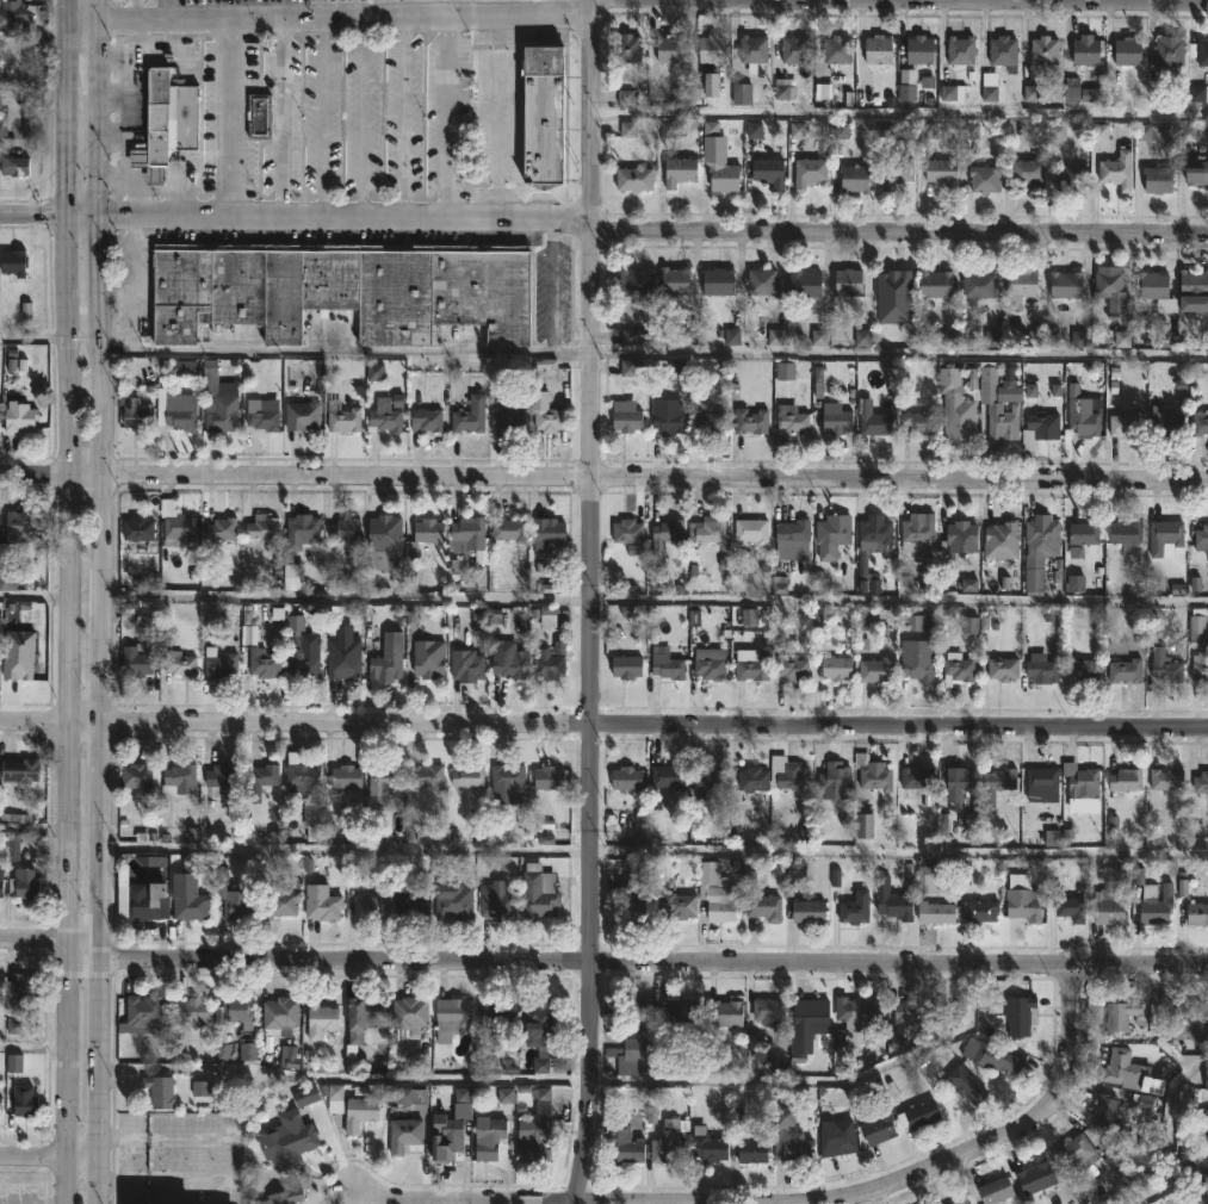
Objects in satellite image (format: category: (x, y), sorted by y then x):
building: (12, 13)
road: (329, 17)
building: (627, 46)
building: (671, 48)
building: (712, 48)
building: (794, 49)
building: (837, 49)
building: (879, 49)
building: (922, 49)
building: (962, 49)
building: (1004, 50)
building: (1047, 50)
building: (1088, 50)
building: (1129, 50)
building: (1171, 50)
building: (754, 51)
building: (1203, 51)
building: (707, 86)
building: (743, 97)
road: (590, 110)
building: (259, 116)
building: (541, 116)
road: (321, 117)
road: (402, 117)
road: (451, 117)
road: (899, 117)
road: (229, 118)
road: (281, 118)
road: (361, 118)
building: (168, 122)
building: (14, 166)
building: (681, 170)
building: (1117, 170)
building: (769, 172)
building: (806, 172)
building: (943, 172)
building: (1026, 173)
building: (1195, 173)
building: (892, 174)
building: (720, 178)
building: (631, 179)
building: (851, 179)
building: (981, 179)
building: (1068, 179)
building: (1156, 180)
traffic signals: (67, 217)
traffic signals: (100, 217)
road: (295, 218)
road: (590, 226)
road: (899, 235)
building: (14, 262)
building: (675, 281)
building: (719, 281)
building: (762, 281)
building: (632, 283)
building: (850, 283)
building: (887, 283)
building: (806, 284)
building: (1192, 284)
building: (933, 285)
building: (979, 285)
building: (1063, 285)
building: (1018, 286)
building: (1113, 286)
building: (1148, 286)
building: (341, 290)
road: (35, 345)
road: (652, 355)
building: (998, 402)
building: (955, 408)
building: (176, 410)
building: (454, 414)
building: (543, 414)
building: (221, 416)
building: (261, 416)
building: (303, 416)
building: (19, 417)
building: (138, 417)
building: (343, 417)
building: (793, 418)
building: (385, 420)
building: (506, 420)
building: (622, 421)
building: (708, 421)
building: (1163, 421)
building: (665, 422)
building: (749, 422)
building: (834, 422)
building: (1045, 422)
building: (876, 423)
building: (917, 423)
building: (1084, 423)
building: (1122, 423)
building: (1198, 423)
road: (603, 476)
building: (176, 523)
building: (262, 526)
building: (138, 528)
building: (222, 528)
building: (345, 528)
building: (507, 528)
building: (669, 529)
building: (708, 529)
building: (751, 529)
building: (24, 530)
building: (303, 530)
building: (625, 530)
building: (875, 530)
building: (1123, 530)
building: (1080, 532)
building: (917, 533)
building: (962, 534)
building: (1161, 534)
building: (546, 535)
building: (1200, 536)
building: (470, 538)
building: (829, 538)
building: (793, 539)
building: (385, 540)
building: (998, 540)
building: (1036, 552)
building: (411, 558)
road: (100, 601)
road: (36, 602)
road: (70, 602)
road: (653, 604)
building: (1197, 629)
building: (136, 660)
building: (429, 662)
building: (915, 662)
building: (179, 663)
building: (219, 663)
building: (264, 663)
building: (663, 663)
building: (508, 664)
building: (748, 664)
building: (19, 665)
building: (545, 665)
building: (624, 665)
building: (1163, 665)
building: (303, 666)
building: (345, 666)
building: (386, 666)
building: (467, 666)
building: (707, 666)
building: (834, 666)
building: (1084, 668)
building: (1200, 668)
building: (789, 669)
building: (872, 669)
building: (1001, 669)
building: (955, 670)
building: (1125, 670)
building: (1043, 671)
road: (589, 719)
road: (603, 724)
building: (20, 770)
building: (871, 772)
building: (140, 774)
building: (221, 776)
building: (302, 776)
building: (346, 776)
building: (427, 776)
building: (469, 776)
building: (507, 776)
building: (669, 776)
building: (260, 777)
building: (383, 777)
building: (545, 777)
building: (712, 777)
building: (793, 777)
building: (915, 777)
building: (622, 778)
building: (750, 778)
building: (1164, 778)
building: (831, 780)
building: (959, 780)
building: (1082, 780)
building: (1123, 780)
building: (178, 781)
building: (1200, 782)
building: (996, 783)
building: (1043, 783)
road: (33, 836)
road: (653, 854)
building: (25, 883)
building: (0, 886)
building: (538, 892)
building: (717, 896)
building: (187, 899)
building: (286, 899)
building: (148, 900)
building: (454, 900)
building: (495, 901)
building: (238, 902)
building: (410, 902)
building: (1150, 902)
building: (322, 905)
building: (674, 905)
building: (760, 905)
building: (892, 905)
building: (1021, 905)
building: (1070, 905)
building: (1107, 906)
building: (370, 908)
building: (853, 908)
building: (974, 911)
building: (633, 912)
building: (805, 912)
building: (937, 912)
building: (1195, 912)
road: (603, 960)
building: (0, 985)
building: (24, 986)
building: (768, 1007)
building: (861, 1008)
building: (144, 1010)
building: (192, 1010)
building: (634, 1010)
building: (679, 1010)
building: (913, 1011)
building: (240, 1012)
building: (494, 1012)
building: (721, 1012)
building: (1021, 1012)
building: (280, 1013)
building: (453, 1014)
building: (809, 1014)
building: (1122, 1014)
building: (410, 1016)
building: (364, 1017)
building: (1187, 1018)
building: (321, 1019)
building: (534, 1020)
building: (633, 1049)
road: (33, 1053)
building: (989, 1056)
building: (16, 1065)
building: (549, 1065)
building: (1117, 1067)
road: (570, 1078)
building: (1204, 1079)
building: (964, 1085)
building: (160, 1090)
building: (333, 1097)
building: (0, 1099)
building: (24, 1100)
building: (1109, 1111)
building: (360, 1112)
building: (918, 1113)
road: (1166, 1129)
building: (840, 1130)
building: (879, 1131)
building: (450, 1132)
building: (404, 1134)
building: (791, 1136)
building: (489, 1140)
building: (534, 1140)
building: (668, 1142)
building: (290, 1143)
building: (620, 1144)
building: (706, 1147)
building: (751, 1150)
road: (50, 1156)
building: (1078, 1158)
building: (1206, 1165)
building: (1123, 1169)
building: (1033, 1178)
building: (992, 1191)
building: (286, 1196)
road: (372, 1196)
road: (837, 1196)
building: (959, 1198)
building: (1206, 1198)
building: (966, 1203)

